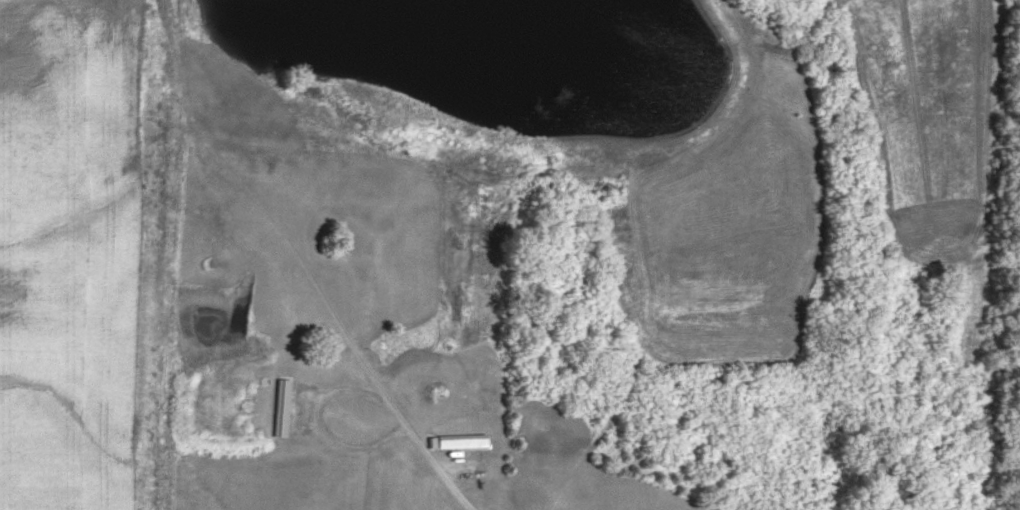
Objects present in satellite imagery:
building: (281, 405)
building: (460, 439)
road: (450, 483)

